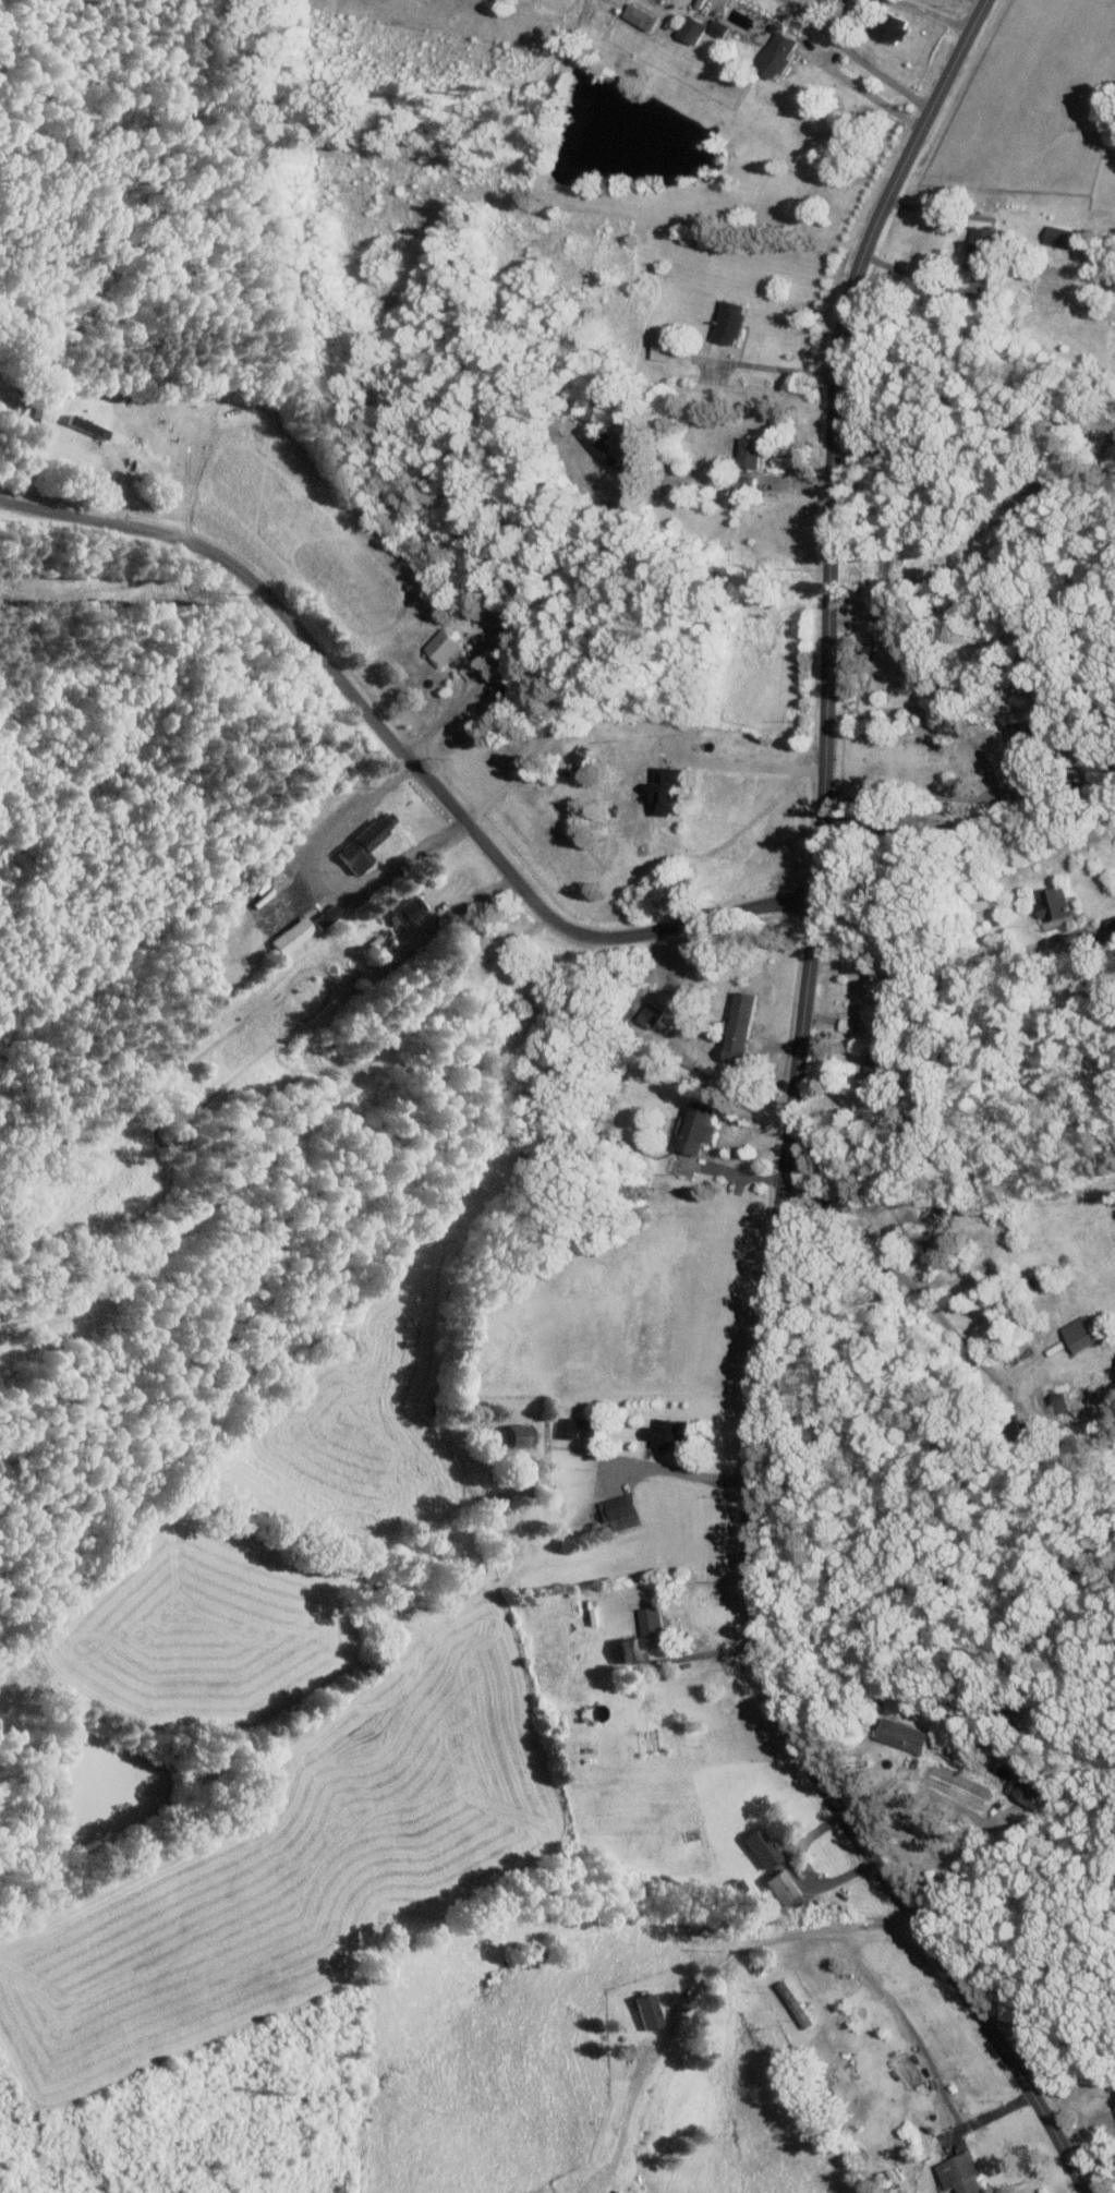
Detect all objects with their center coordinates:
road: (934, 13)
building: (642, 15)
road: (845, 21)
building: (893, 25)
building: (694, 28)
building: (723, 28)
building: (779, 55)
road: (856, 57)
road: (870, 96)
road: (940, 209)
building: (1063, 237)
building: (982, 250)
road: (922, 278)
building: (731, 322)
building: (663, 350)
road: (771, 367)
building: (87, 423)
road: (966, 436)
building: (751, 451)
building: (446, 644)
road: (579, 671)
road: (441, 718)
road: (968, 740)
road: (402, 751)
road: (744, 763)
building: (672, 788)
building: (366, 844)
road: (325, 877)
building: (1058, 903)
building: (409, 911)
building: (330, 915)
building: (296, 933)
road: (932, 974)
building: (847, 1024)
building: (743, 1026)
building: (878, 1064)
building: (701, 1126)
road: (787, 1128)
road: (730, 1171)
road: (913, 1289)
building: (1081, 1333)
building: (1067, 1402)
building: (574, 1426)
building: (668, 1433)
building: (524, 1434)
road: (679, 1471)
building: (621, 1509)
building: (646, 1636)
road: (703, 1652)
building: (906, 1735)
building: (1028, 1791)
road: (963, 1810)
building: (766, 1848)
road: (802, 1868)
building: (786, 1888)
road: (701, 1985)
building: (797, 2002)
building: (651, 2010)
road: (925, 2058)
building: (963, 2173)

